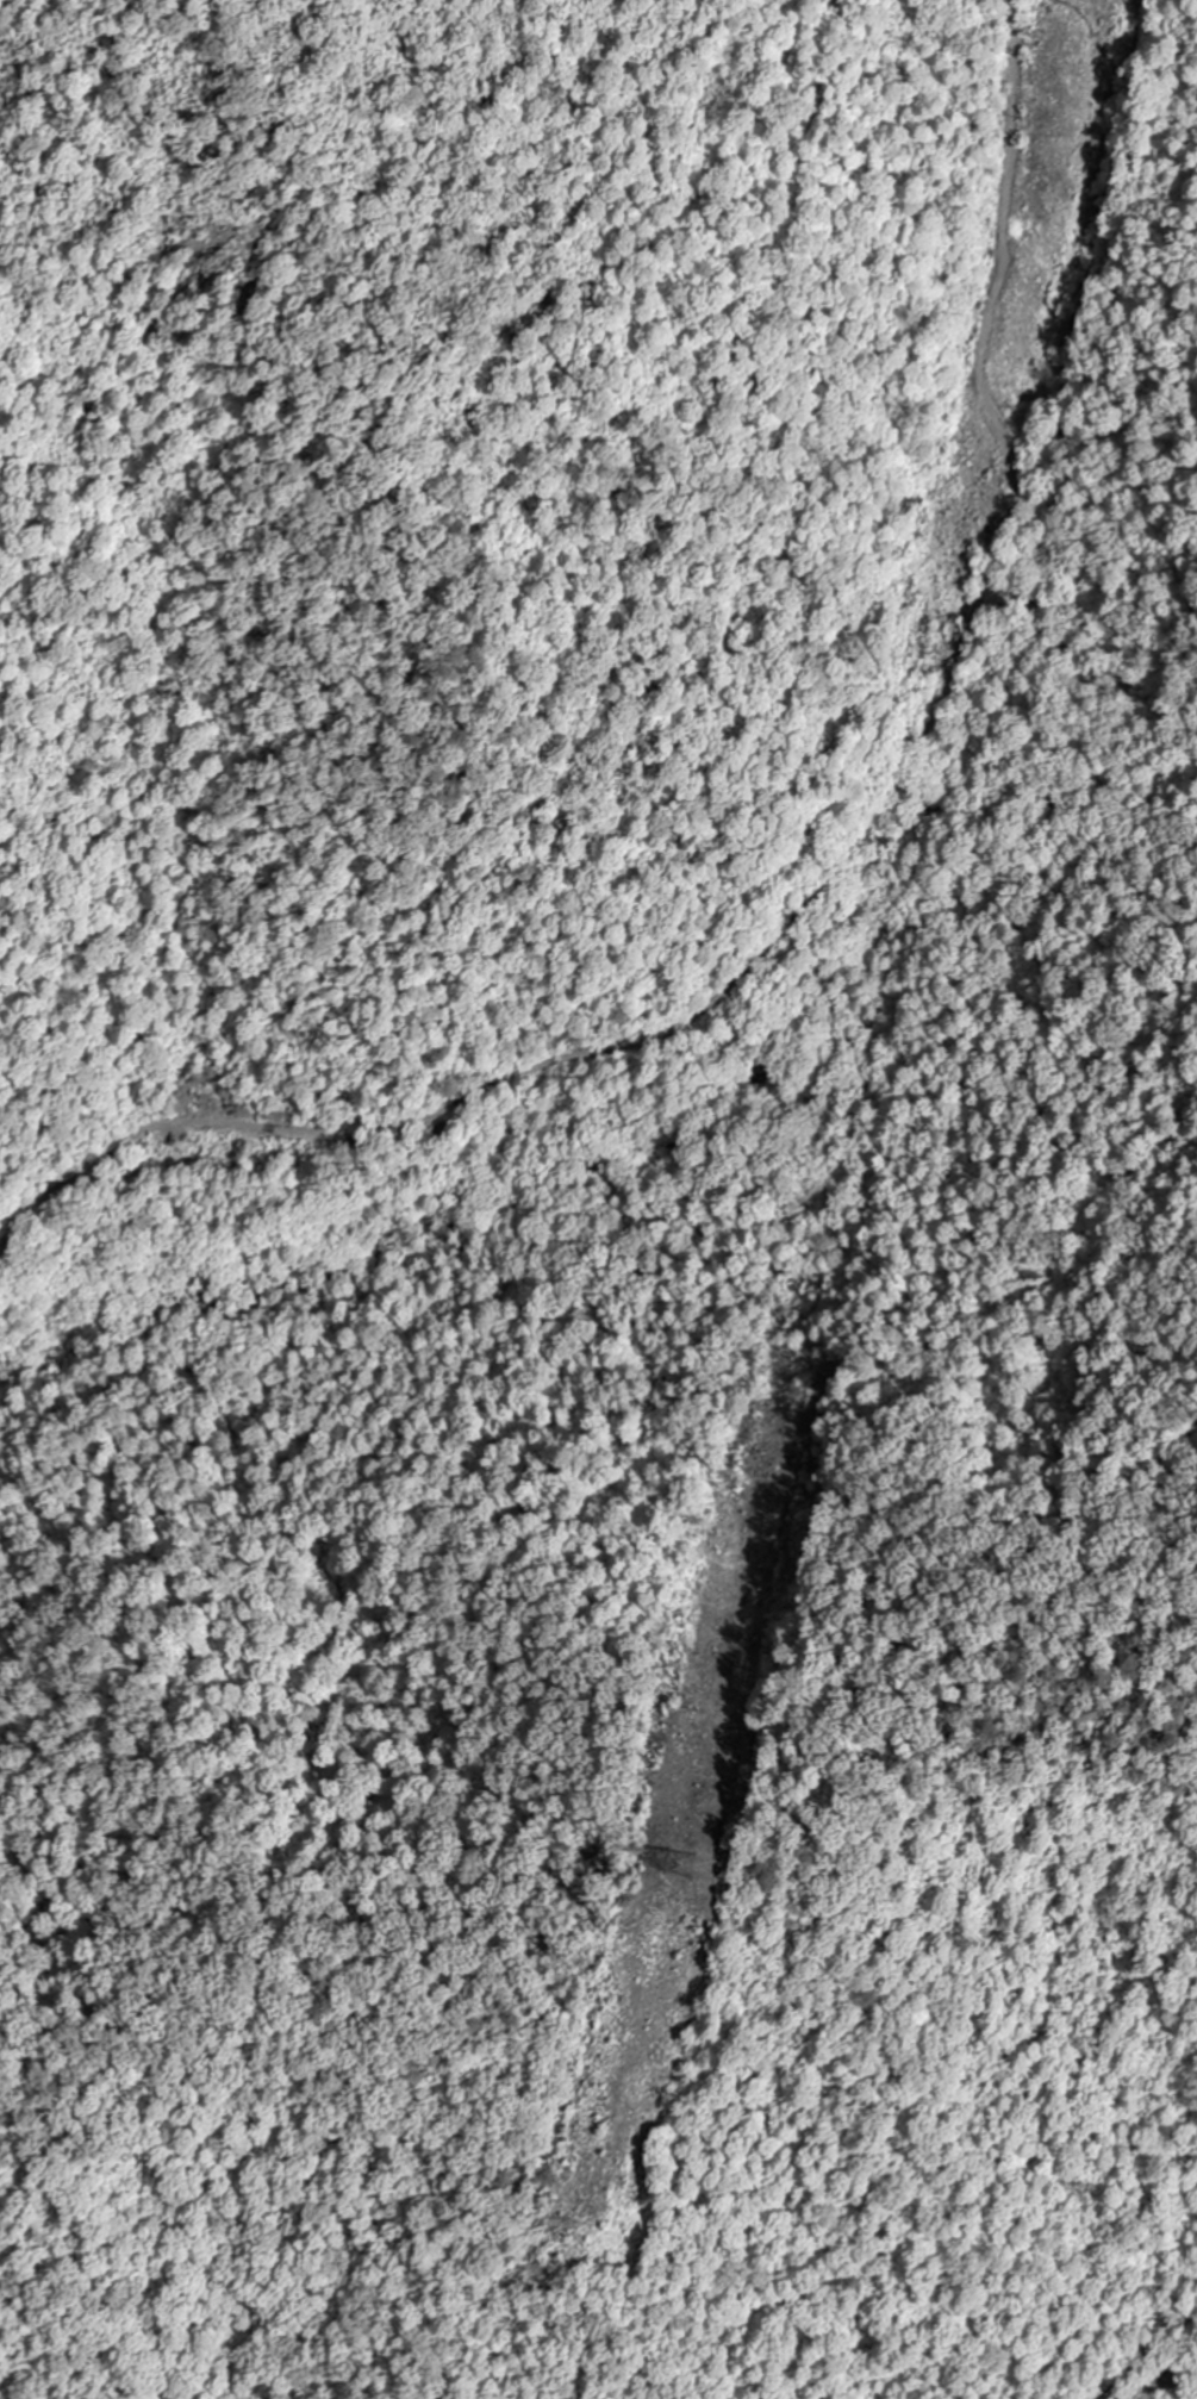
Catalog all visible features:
power tower: (671, 1864)

